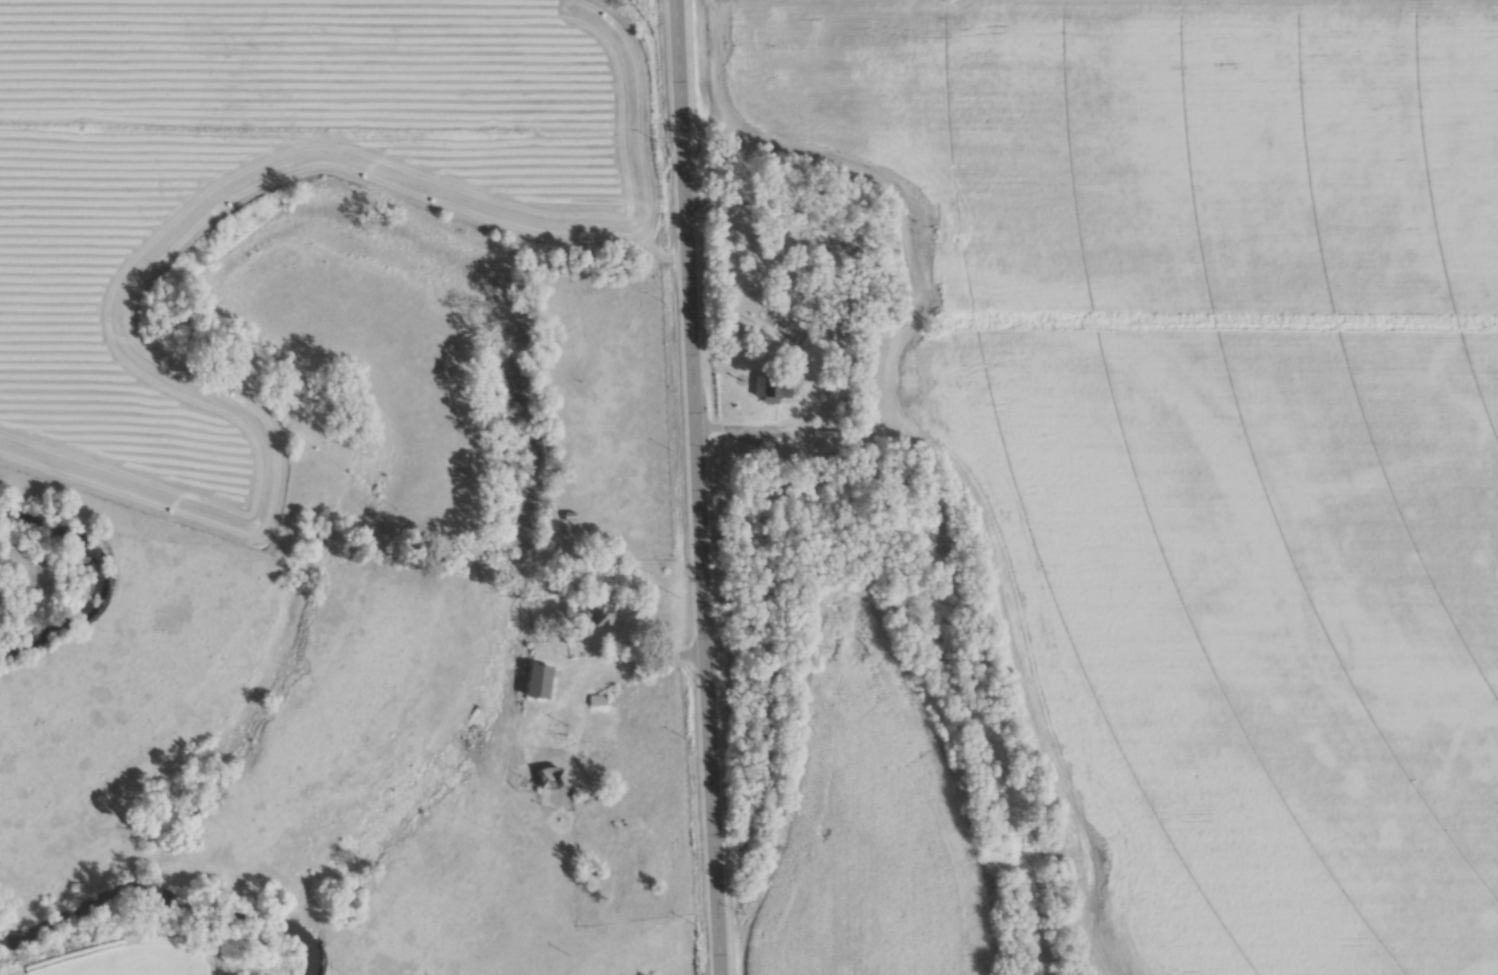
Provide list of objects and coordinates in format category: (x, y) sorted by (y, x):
building: (744, 241)
building: (772, 388)
road: (697, 487)
building: (597, 616)
building: (539, 681)
building: (551, 778)

